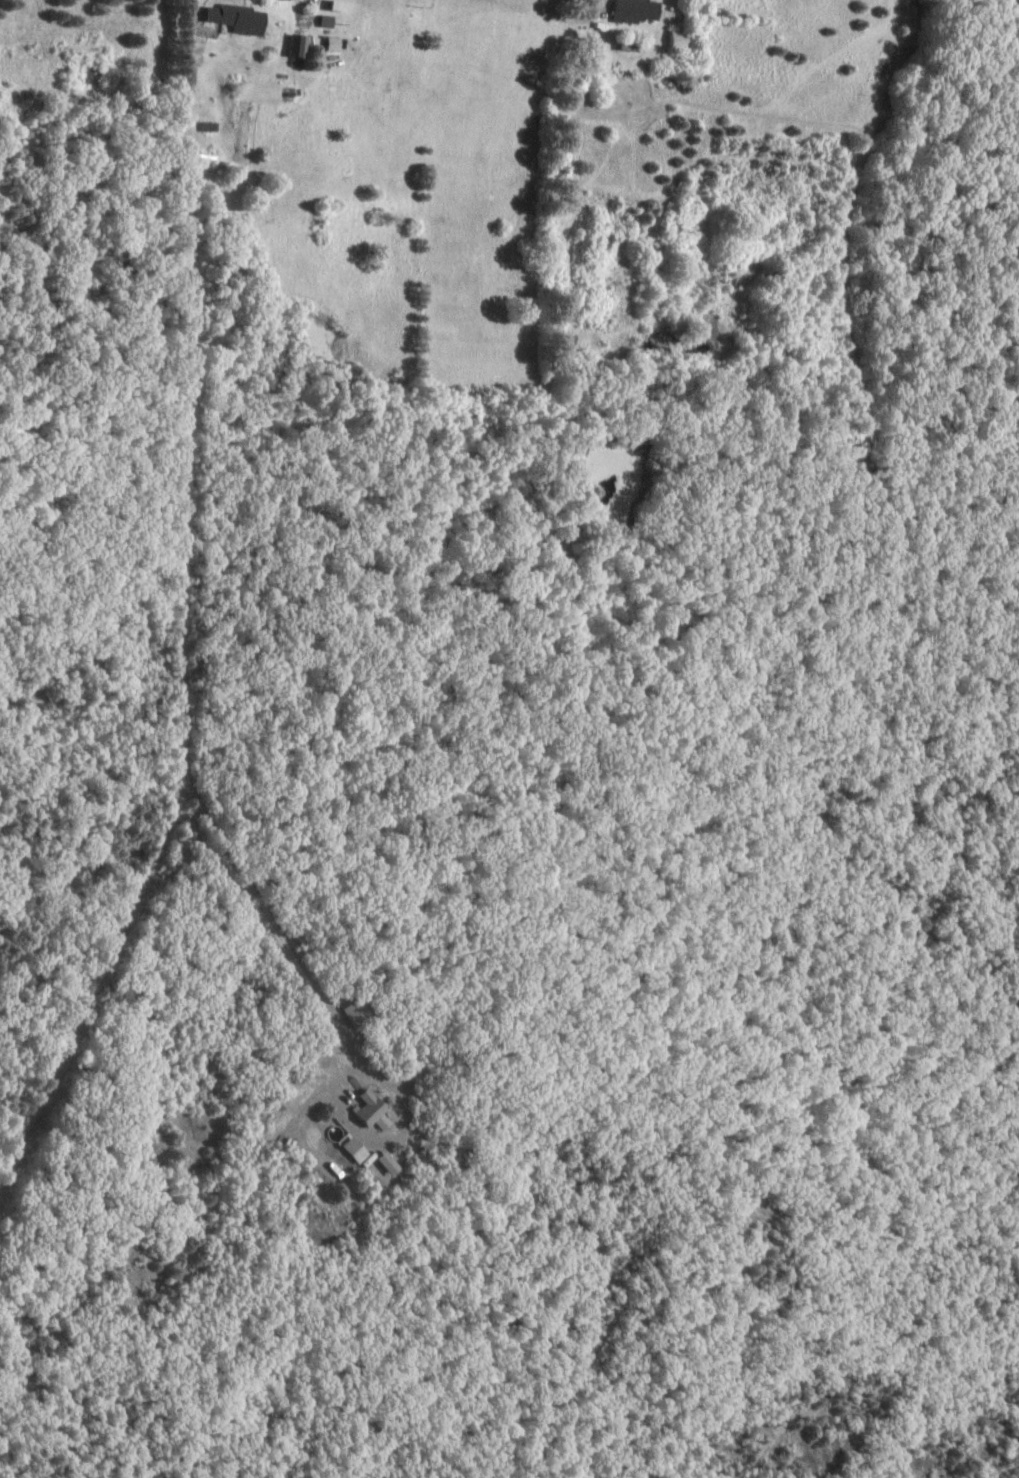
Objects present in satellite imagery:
building: (631, 12)
building: (232, 20)
building: (674, 42)
building: (294, 53)
building: (347, 1077)

